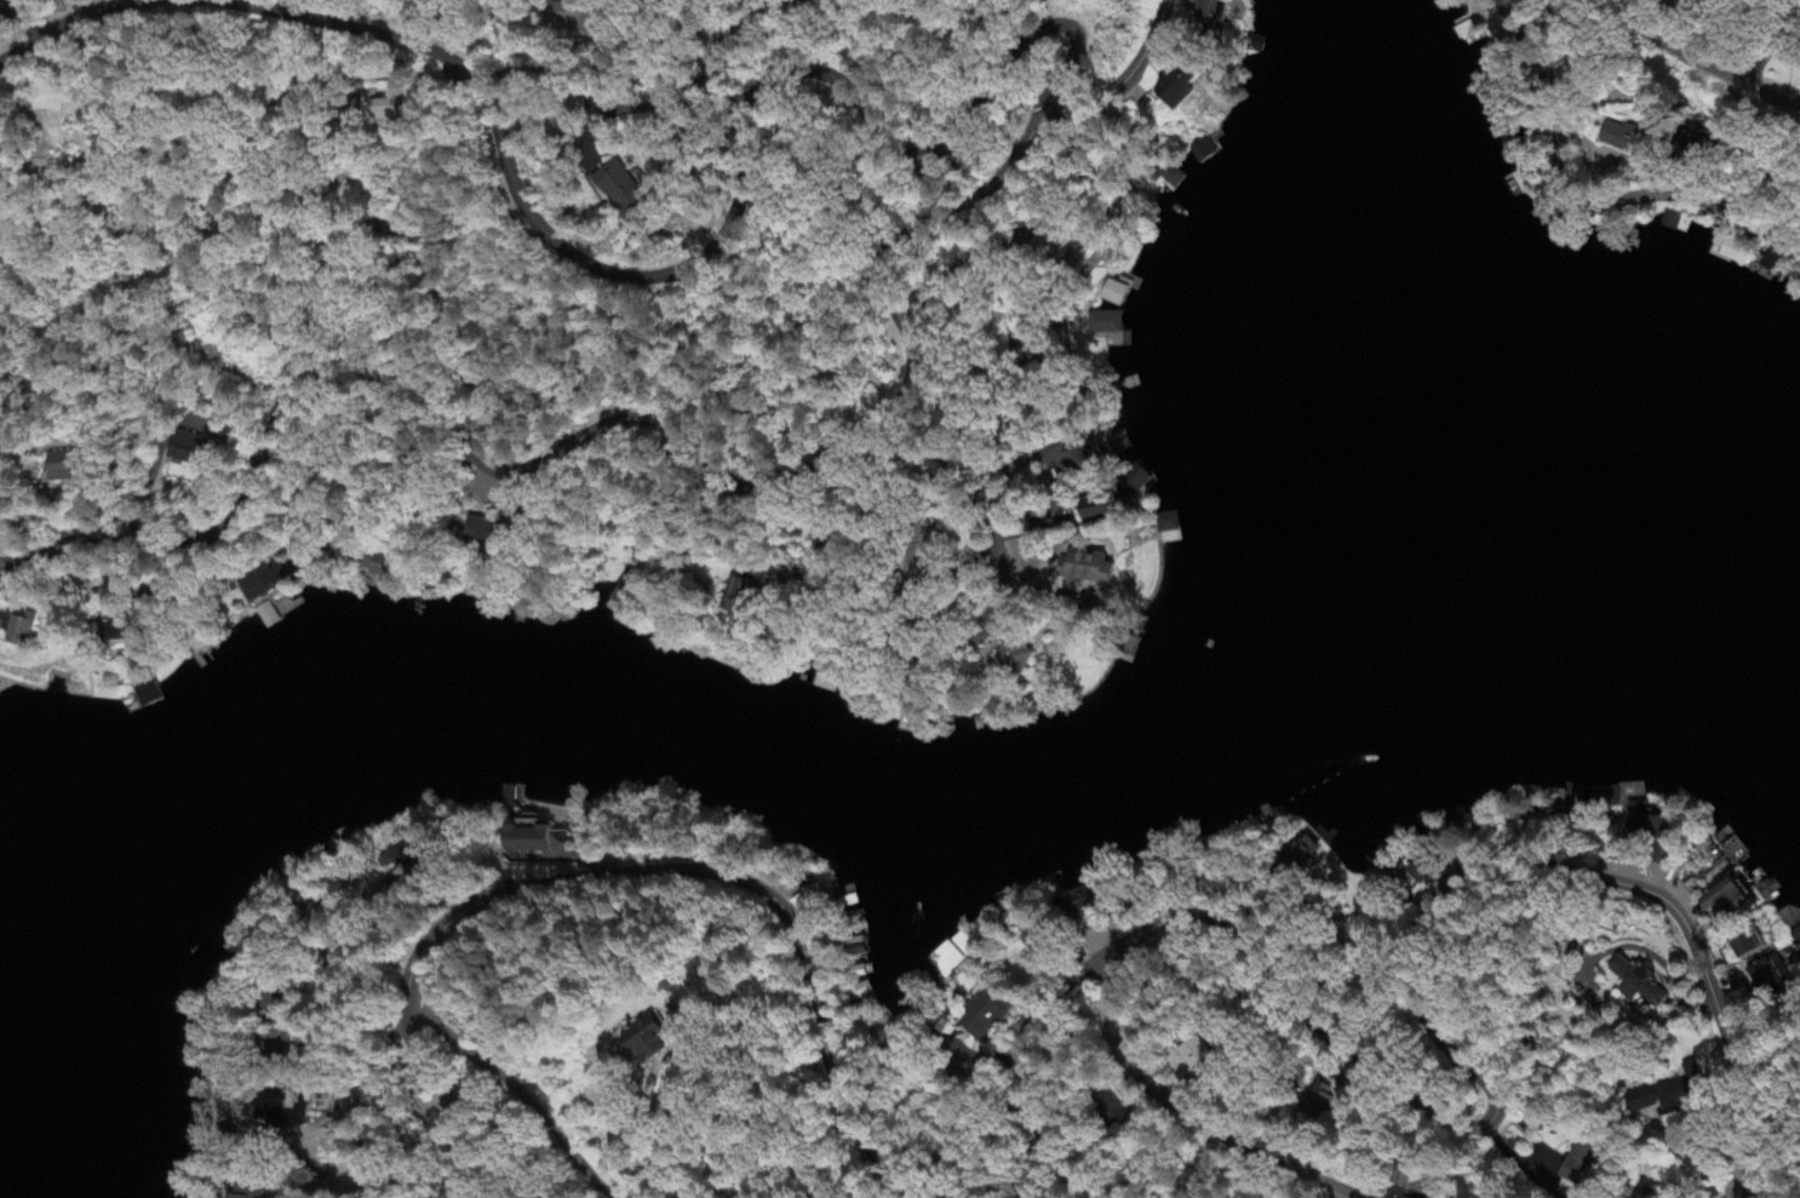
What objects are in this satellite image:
road: (195, 0)
building: (1548, 0)
building: (1720, 1)
building: (1210, 15)
building: (569, 18)
road: (751, 19)
road: (68, 25)
road: (712, 57)
building: (1798, 58)
road: (1702, 64)
building: (1182, 86)
road: (665, 104)
building: (391, 105)
building: (1047, 113)
building: (1623, 142)
building: (1680, 143)
building: (965, 161)
building: (1164, 178)
building: (629, 193)
road: (1587, 197)
road: (721, 246)
building: (1096, 323)
building: (1030, 350)
road: (303, 424)
road: (981, 429)
building: (222, 434)
building: (187, 449)
road: (562, 454)
building: (1077, 455)
building: (68, 468)
road: (1019, 469)
road: (149, 486)
road: (624, 493)
building: (1093, 509)
building: (522, 511)
building: (821, 518)
road: (990, 522)
road: (1028, 529)
building: (486, 531)
road: (1068, 538)
road: (5, 549)
building: (923, 556)
road: (830, 558)
road: (975, 563)
building: (366, 566)
building: (1084, 567)
road: (1105, 574)
road: (869, 575)
building: (259, 584)
road: (1055, 592)
building: (618, 597)
building: (743, 602)
road: (1004, 630)
building: (16, 631)
building: (119, 635)
building: (1013, 657)
building: (1663, 829)
building: (527, 841)
building: (402, 859)
building: (1421, 869)
road: (631, 873)
building: (1764, 889)
building: (1731, 900)
building: (1083, 906)
road: (395, 919)
building: (1748, 946)
building: (1042, 950)
road: (1306, 956)
building: (940, 961)
building: (1765, 975)
building: (1640, 982)
road: (640, 1004)
building: (984, 1015)
building: (649, 1042)
building: (1200, 1057)
road: (337, 1066)
road: (521, 1090)
building: (1675, 1093)
road: (1772, 1095)
building: (1318, 1100)
road: (1497, 1100)
road: (391, 1108)
building: (1107, 1111)
building: (286, 1113)
road: (1188, 1114)
road: (1693, 1152)
building: (1573, 1162)
road: (1732, 1176)
road: (666, 1182)
building: (246, 1188)

